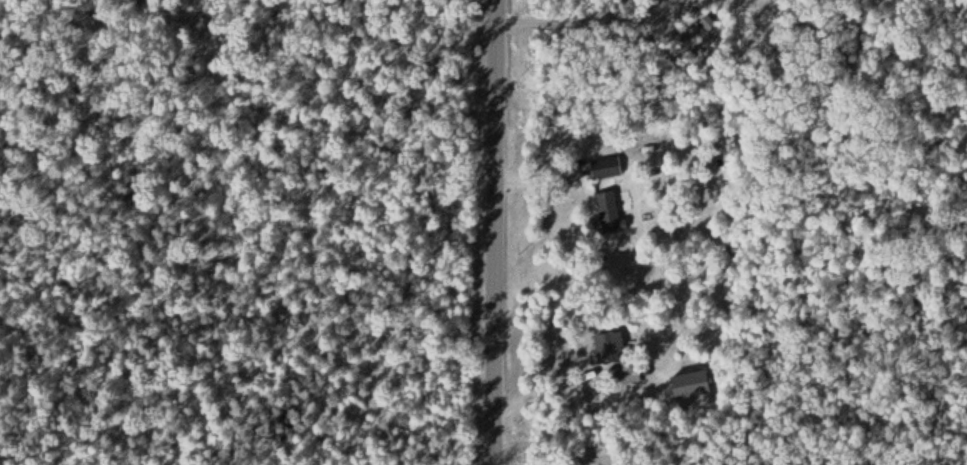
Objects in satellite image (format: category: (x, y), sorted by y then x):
building: (604, 170)
building: (608, 213)
road: (495, 232)
building: (608, 346)
building: (624, 375)

